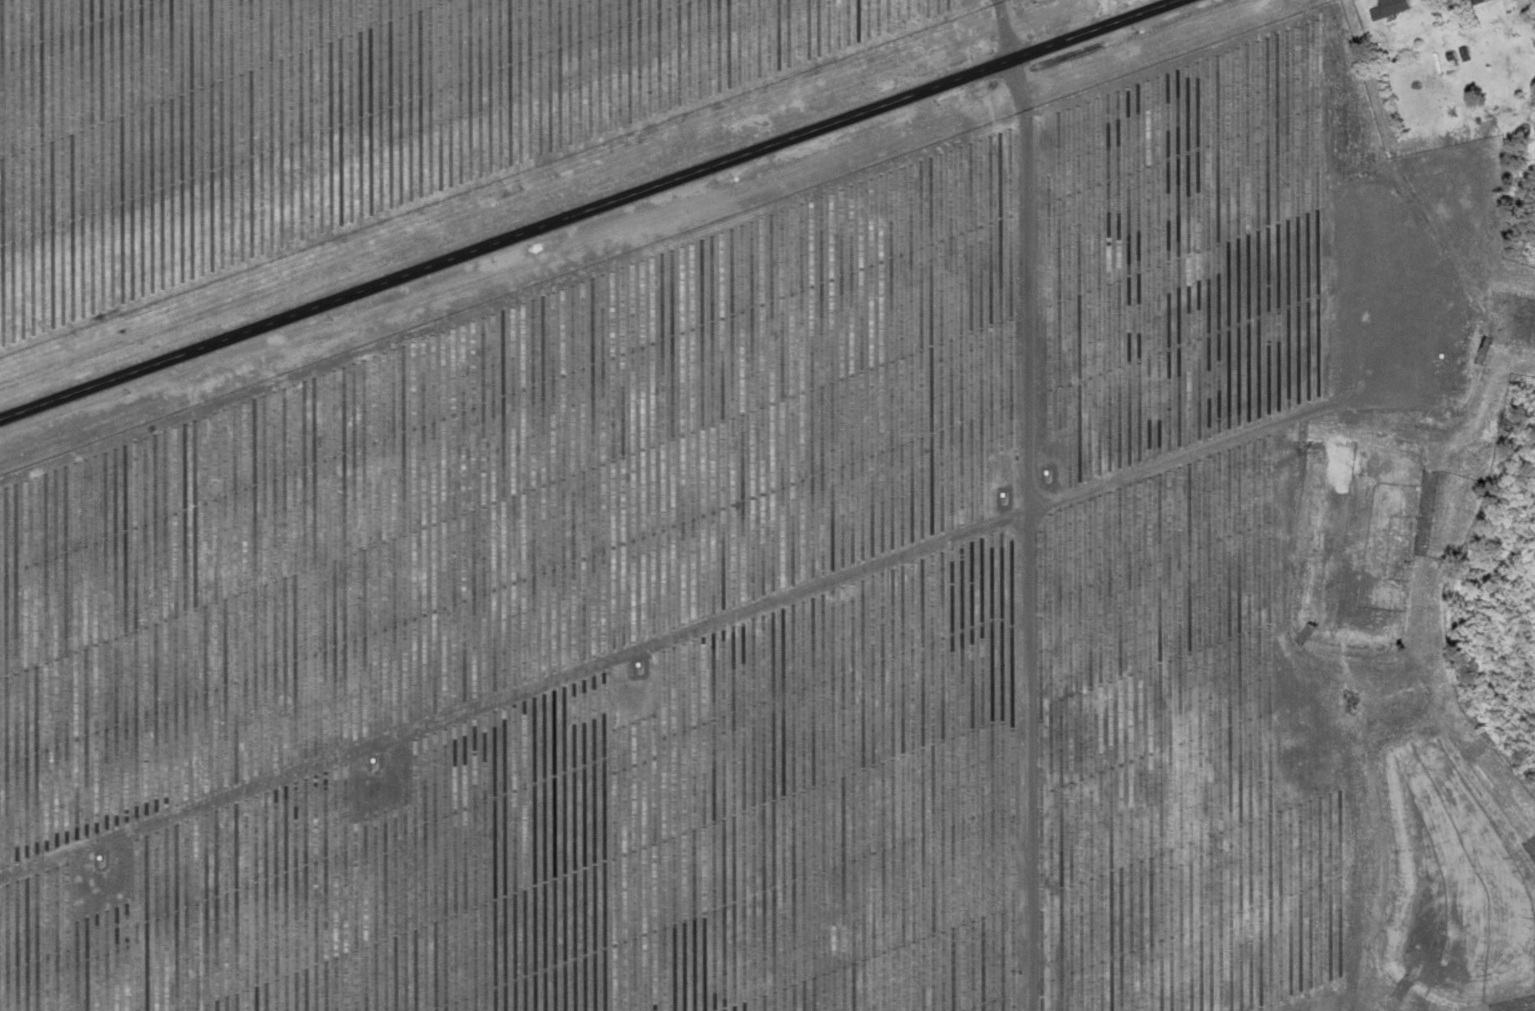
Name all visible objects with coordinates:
building: (1471, 2)
building: (1386, 8)
road: (589, 209)
building: (1238, 795)

